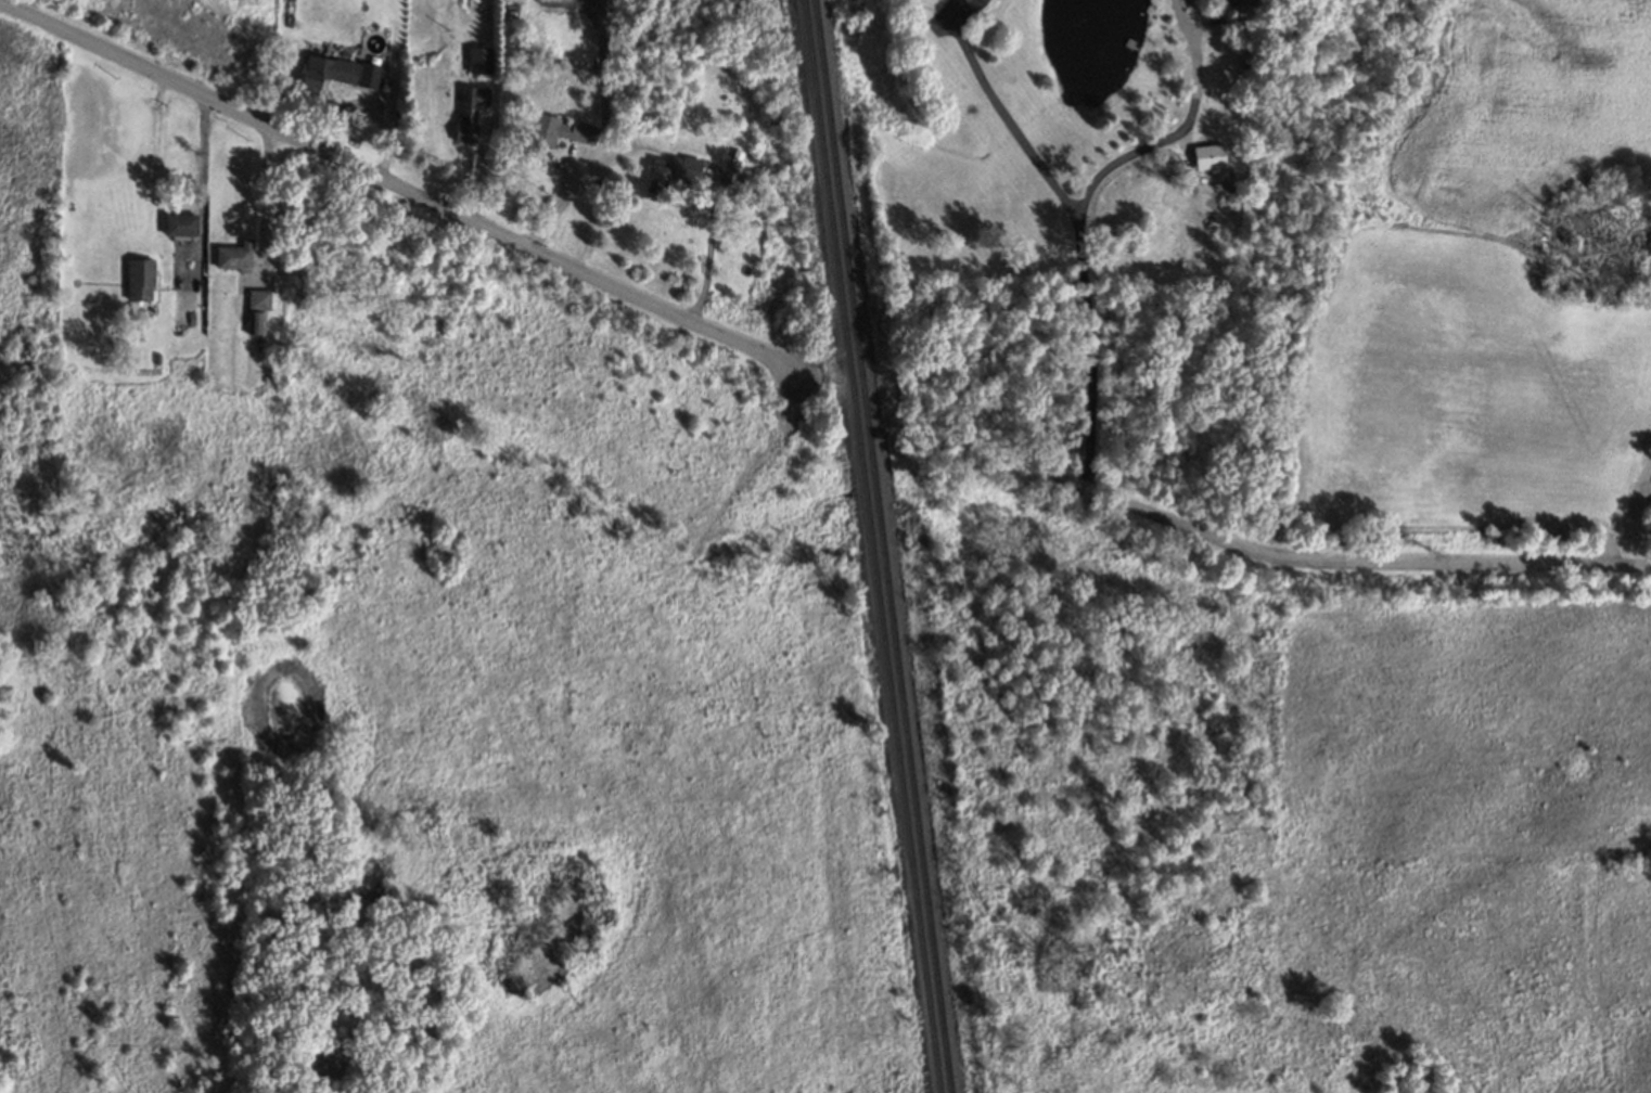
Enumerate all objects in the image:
building: (1240, 3)
building: (980, 4)
road: (30, 8)
building: (481, 60)
building: (338, 73)
building: (470, 112)
road: (1013, 127)
building: (560, 130)
road: (604, 133)
building: (1211, 157)
building: (671, 171)
road: (203, 180)
road: (404, 187)
road: (266, 188)
building: (181, 224)
road: (1078, 229)
road: (708, 250)
building: (234, 256)
building: (141, 279)
building: (259, 299)
building: (256, 322)
crop: (1648, 445)
railway: (883, 545)
railway: (871, 546)
road: (1323, 561)

